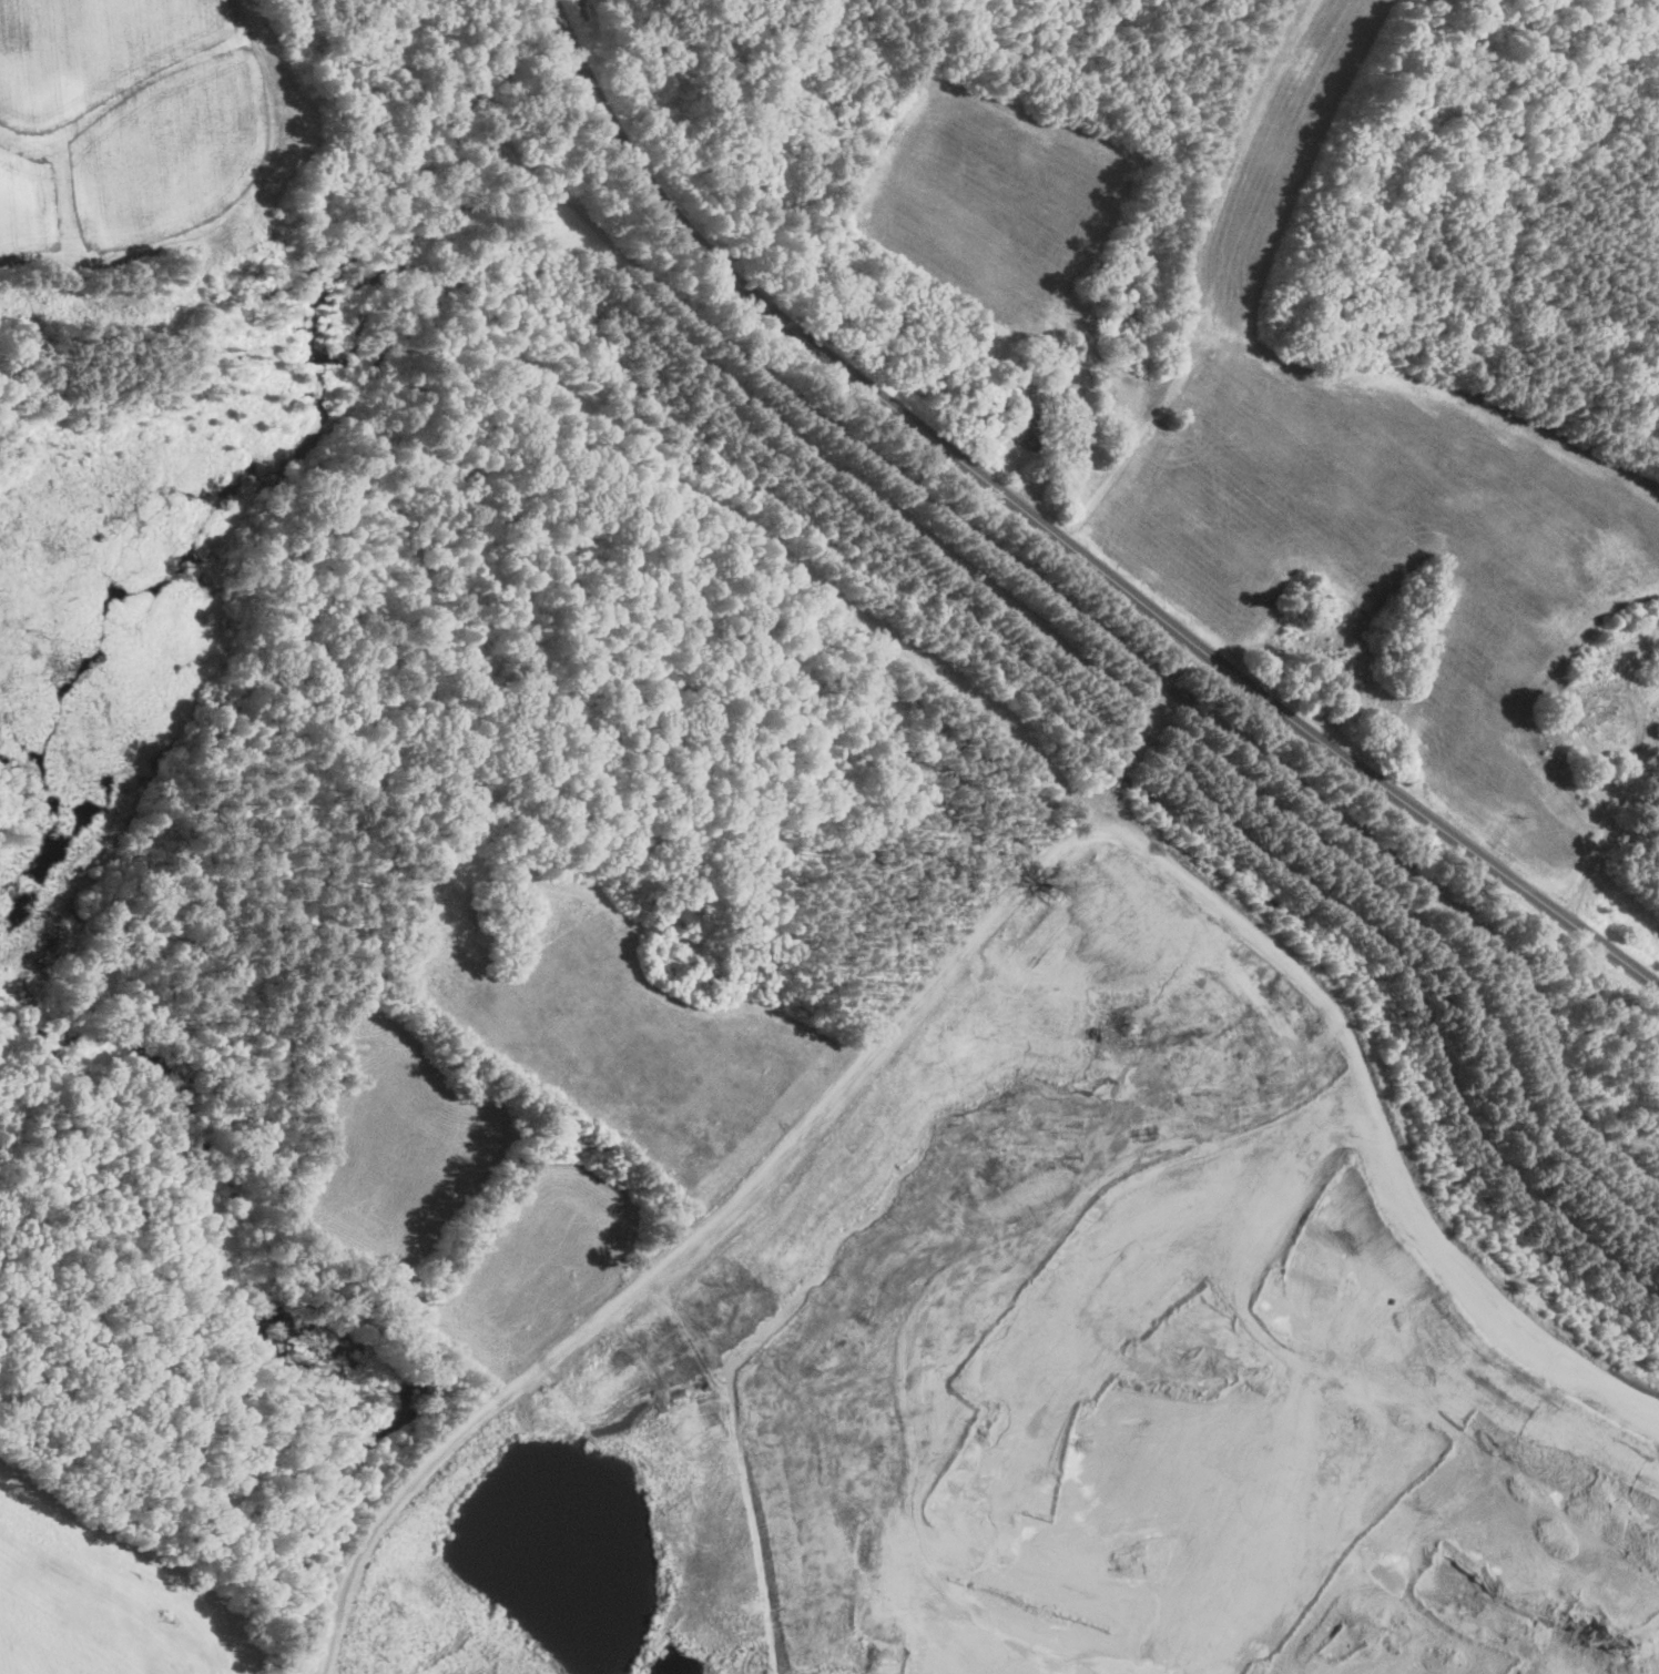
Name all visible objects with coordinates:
building: (831, 122)
building: (1121, 310)
building: (907, 367)
building: (1034, 367)
building: (1078, 418)
building: (1028, 428)
road: (1059, 537)
building: (1604, 710)
road: (1617, 813)
building: (1171, 993)
quarry: (765, 1072)
building: (1631, 1125)
road: (286, 1534)

